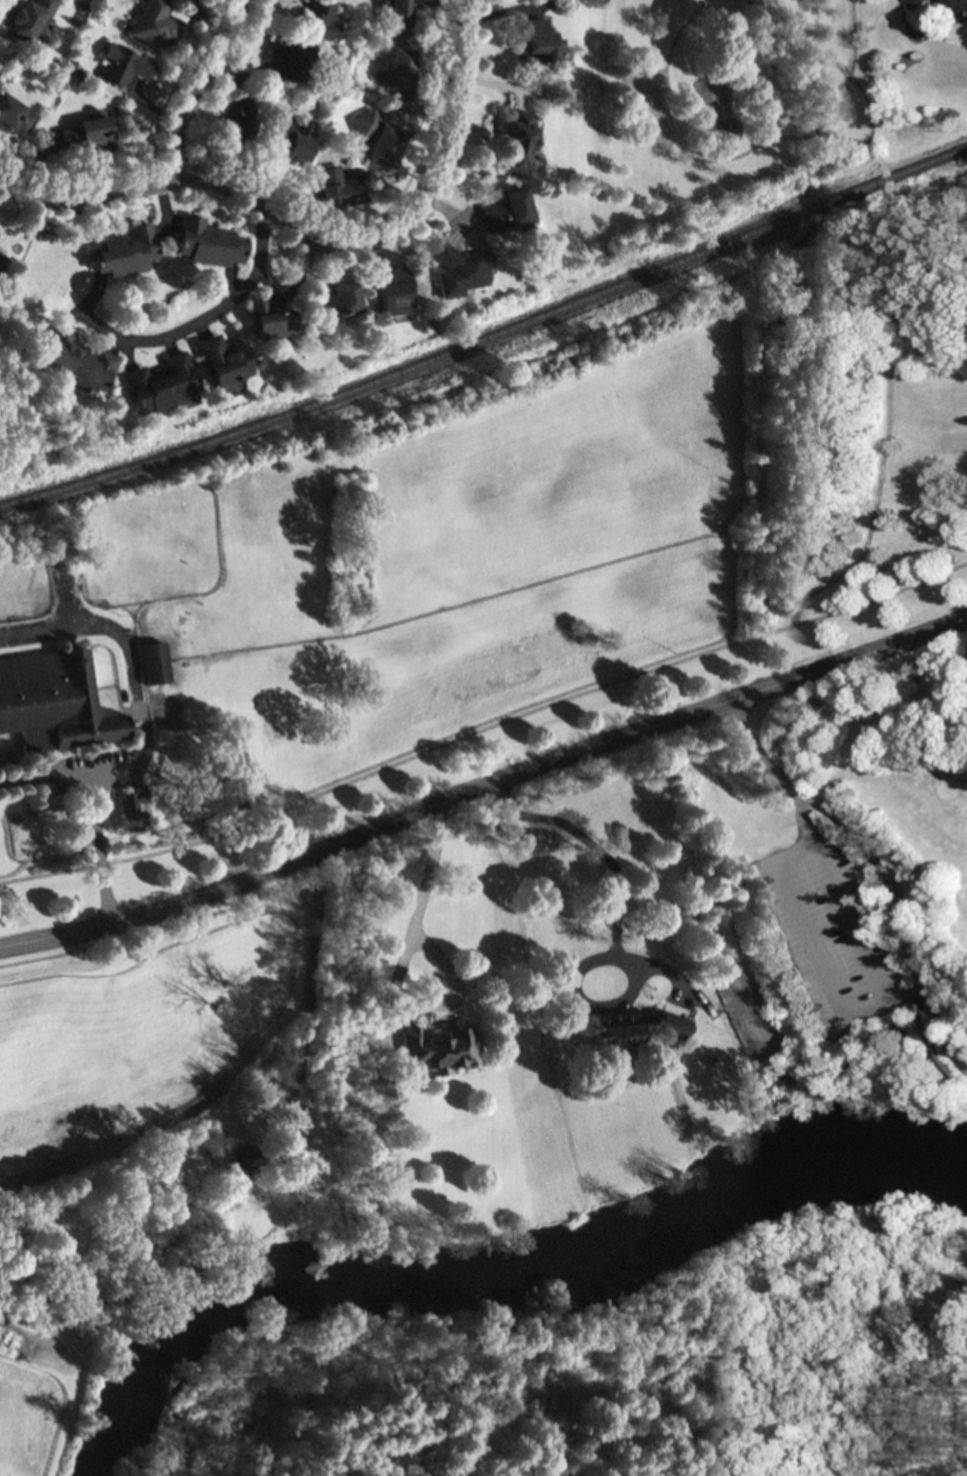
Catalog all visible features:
building: (952, 11)
building: (398, 16)
building: (30, 19)
building: (317, 20)
building: (155, 25)
building: (537, 41)
building: (291, 57)
building: (124, 65)
building: (400, 68)
road: (198, 87)
building: (15, 117)
building: (238, 122)
building: (87, 137)
building: (380, 141)
building: (518, 142)
building: (290, 143)
road: (743, 153)
building: (338, 188)
building: (507, 211)
road: (312, 239)
building: (207, 244)
building: (125, 253)
building: (1, 260)
building: (461, 270)
building: (395, 294)
building: (337, 301)
park: (808, 302)
road: (860, 308)
road: (202, 316)
building: (271, 321)
building: (76, 361)
building: (224, 362)
building: (162, 385)
building: (156, 663)
building: (54, 702)
road: (484, 729)
road: (484, 787)
building: (132, 810)
road: (881, 864)
road: (617, 922)
road: (397, 975)
road: (905, 995)
road: (872, 1004)
building: (634, 1027)
building: (439, 1049)
crop: (159, 1129)
building: (244, 1157)
river: (511, 1277)

